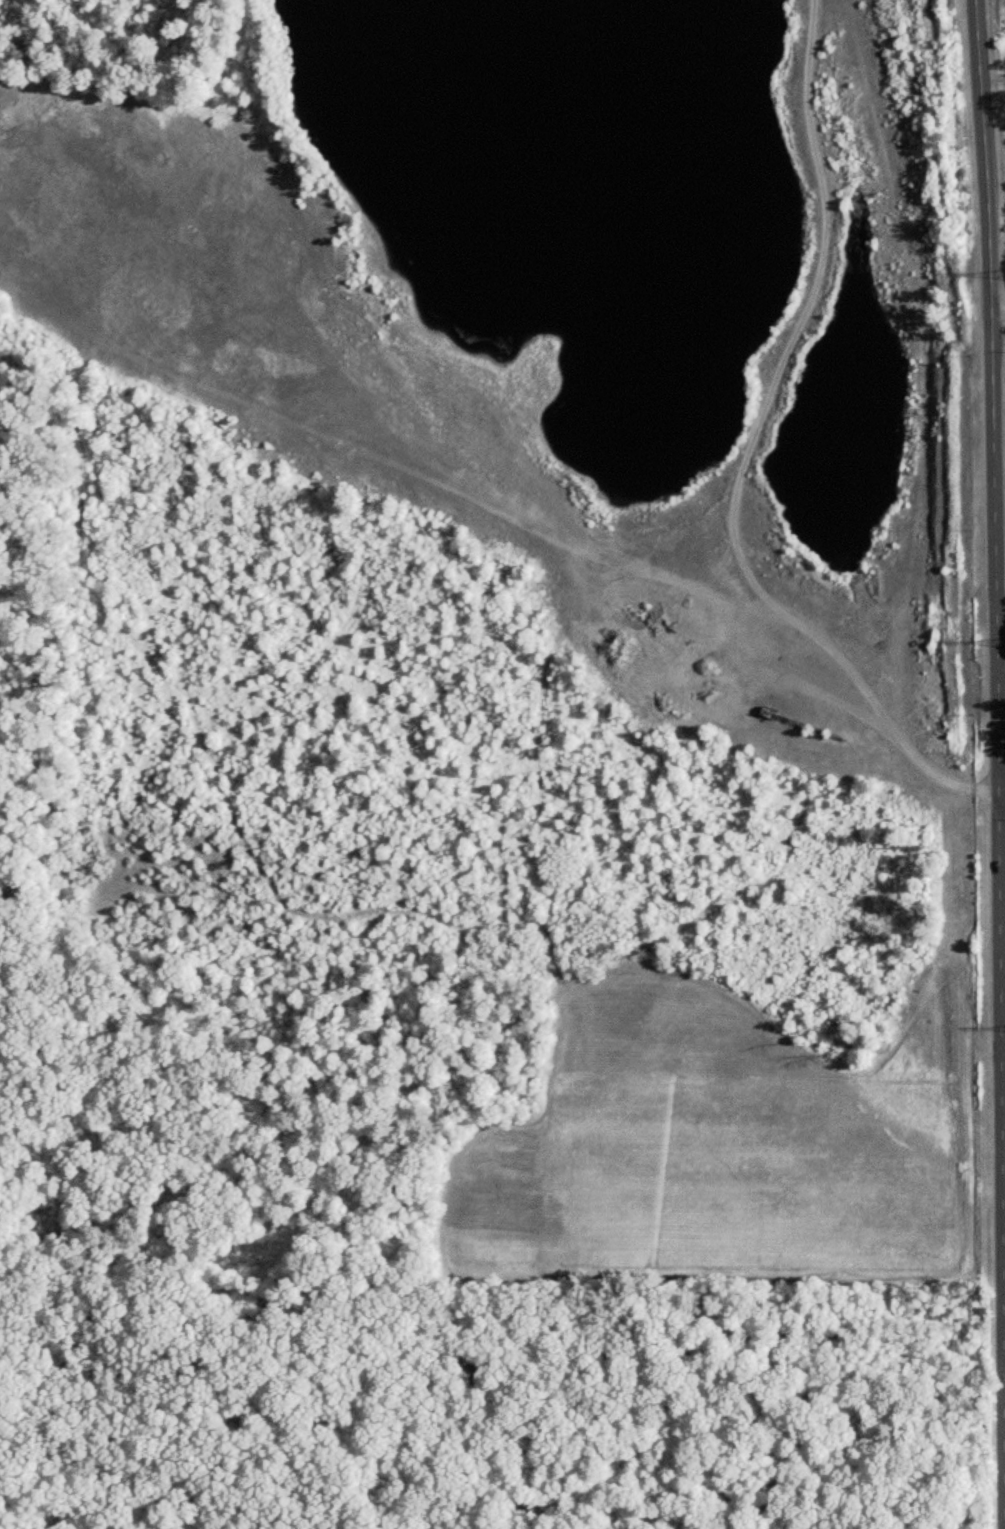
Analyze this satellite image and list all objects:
road: (998, 721)
road: (1002, 771)
road: (1004, 1292)

